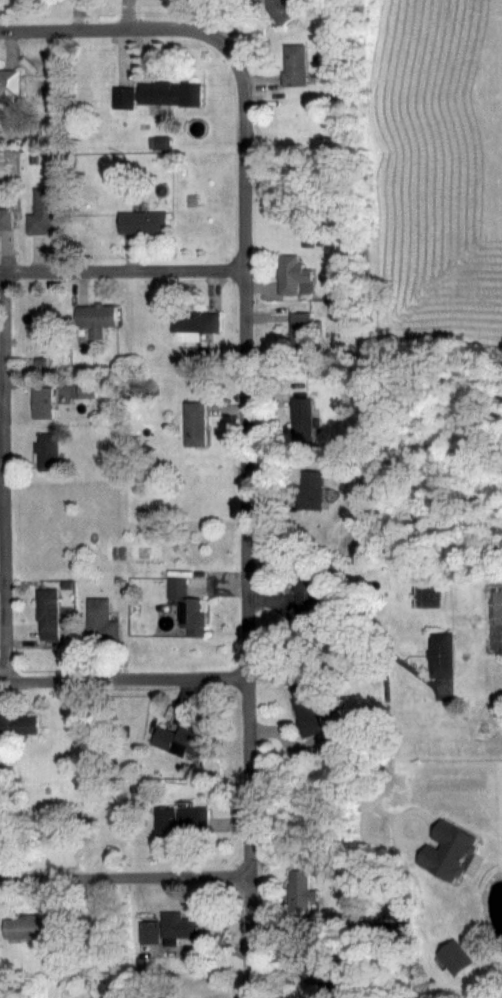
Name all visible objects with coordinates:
building: (281, 10)
building: (295, 63)
building: (9, 86)
building: (171, 92)
building: (123, 97)
building: (45, 211)
building: (7, 218)
building: (143, 221)
road: (246, 244)
road: (123, 270)
building: (294, 275)
building: (96, 318)
building: (196, 321)
building: (301, 331)
building: (87, 389)
building: (42, 402)
building: (302, 417)
building: (195, 423)
building: (47, 451)
road: (3, 476)
building: (310, 490)
building: (306, 584)
building: (188, 606)
building: (48, 613)
building: (101, 619)
building: (441, 653)
road: (122, 678)
building: (308, 706)
building: (18, 724)
building: (181, 741)
building: (183, 821)
road: (248, 837)
building: (455, 842)
road: (124, 877)
building: (300, 891)
building: (25, 925)
building: (168, 928)
building: (456, 958)

